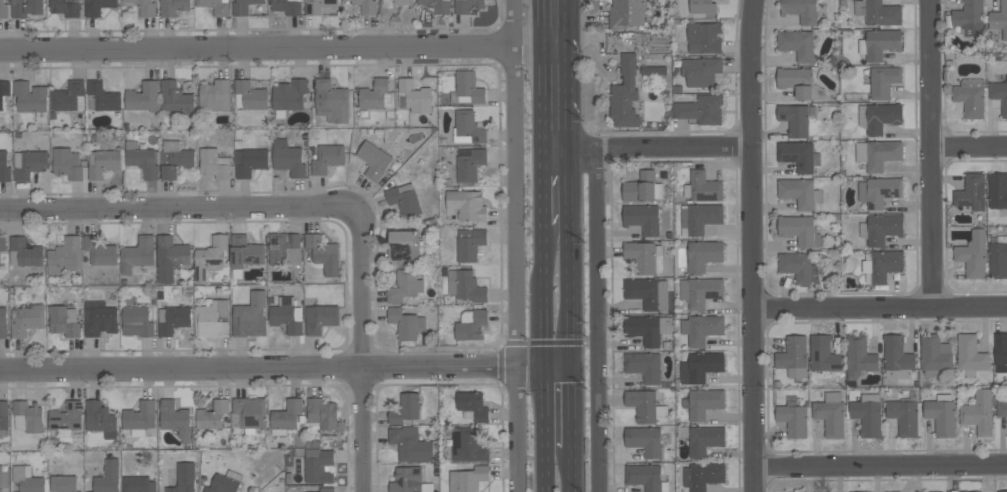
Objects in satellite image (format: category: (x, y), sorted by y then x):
building: (319, 5)
building: (438, 5)
building: (467, 5)
building: (98, 6)
building: (173, 6)
building: (215, 6)
building: (243, 6)
building: (287, 6)
building: (367, 6)
building: (392, 6)
building: (702, 6)
building: (145, 7)
building: (27, 8)
building: (65, 8)
building: (3, 9)
building: (801, 10)
building: (626, 13)
building: (881, 13)
building: (968, 18)
building: (999, 19)
road: (514, 25)
road: (565, 27)
building: (704, 37)
building: (879, 43)
building: (797, 44)
road: (541, 50)
road: (258, 51)
building: (653, 70)
building: (701, 71)
road: (540, 79)
building: (796, 80)
building: (883, 81)
building: (468, 87)
building: (4, 91)
building: (625, 93)
building: (375, 94)
building: (999, 94)
building: (215, 95)
building: (250, 95)
building: (68, 96)
building: (142, 96)
building: (289, 96)
building: (415, 96)
building: (102, 97)
building: (176, 97)
building: (970, 97)
building: (32, 99)
building: (332, 99)
road: (568, 107)
building: (701, 109)
building: (879, 117)
building: (794, 119)
building: (468, 128)
road: (969, 145)
road: (644, 148)
building: (878, 153)
road: (931, 153)
building: (799, 155)
building: (288, 158)
building: (327, 158)
building: (175, 159)
building: (142, 160)
building: (373, 160)
building: (249, 161)
building: (103, 163)
building: (469, 163)
building: (29, 164)
building: (67, 164)
building: (214, 164)
building: (5, 166)
building: (703, 187)
building: (642, 188)
building: (879, 191)
road: (542, 192)
building: (798, 192)
building: (971, 192)
building: (998, 193)
building: (404, 199)
building: (467, 204)
road: (258, 209)
building: (642, 218)
building: (699, 218)
building: (881, 228)
building: (799, 229)
building: (3, 243)
building: (470, 243)
road: (751, 245)
building: (403, 247)
building: (284, 249)
building: (100, 251)
building: (24, 252)
building: (138, 254)
building: (244, 254)
building: (324, 254)
building: (973, 254)
building: (642, 255)
building: (703, 255)
building: (66, 256)
building: (170, 257)
building: (210, 257)
building: (998, 257)
road: (570, 261)
building: (882, 265)
building: (798, 266)
road: (517, 271)
building: (465, 285)
building: (404, 286)
building: (700, 291)
building: (647, 292)
road: (880, 307)
building: (287, 315)
building: (250, 316)
building: (99, 318)
building: (212, 318)
building: (320, 318)
building: (173, 319)
building: (26, 320)
building: (64, 320)
road: (597, 320)
building: (137, 321)
building: (3, 322)
building: (406, 323)
building: (471, 324)
building: (647, 328)
building: (702, 328)
road: (557, 341)
building: (1000, 352)
building: (970, 353)
building: (823, 354)
building: (935, 354)
building: (794, 356)
building: (859, 356)
building: (897, 358)
road: (543, 359)
traffic signals: (543, 365)
traffic signals: (572, 366)
building: (644, 366)
building: (700, 366)
road: (286, 369)
building: (703, 402)
building: (472, 406)
building: (645, 406)
road: (572, 407)
building: (1002, 408)
building: (406, 409)
building: (979, 412)
building: (322, 413)
building: (212, 414)
building: (249, 414)
building: (830, 414)
building: (867, 414)
building: (904, 414)
building: (941, 415)
building: (28, 417)
building: (67, 417)
building: (140, 417)
building: (286, 417)
building: (793, 417)
building: (4, 418)
building: (101, 419)
building: (175, 419)
road: (360, 430)
building: (702, 438)
building: (645, 440)
building: (410, 444)
building: (467, 444)
building: (318, 465)
road: (881, 465)
road: (573, 470)
building: (702, 476)
building: (108, 477)
building: (646, 477)
building: (184, 478)
building: (27, 479)
building: (468, 479)
building: (409, 480)
building: (3, 481)
building: (225, 482)
building: (63, 484)
building: (138, 484)
building: (327, 489)
building: (893, 491)
building: (971, 491)
building: (1002, 491)

